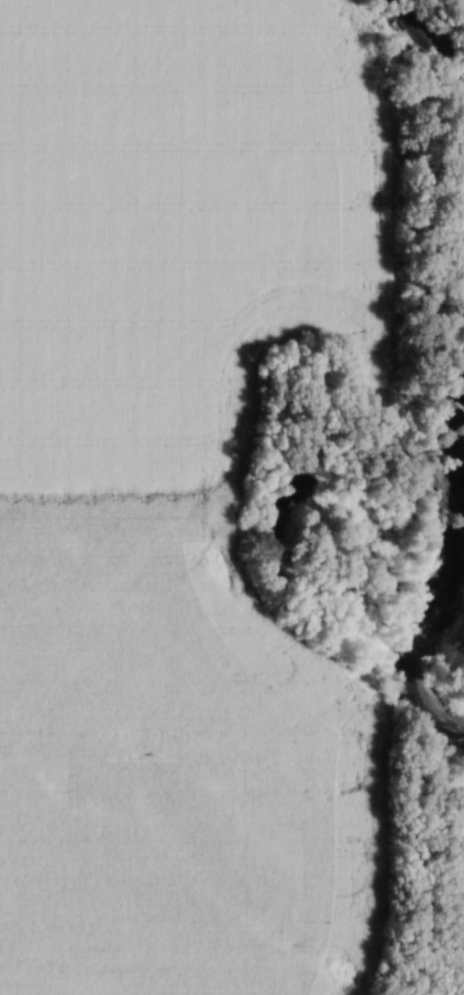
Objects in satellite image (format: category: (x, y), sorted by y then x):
river: (440, 39)
river: (420, 544)

